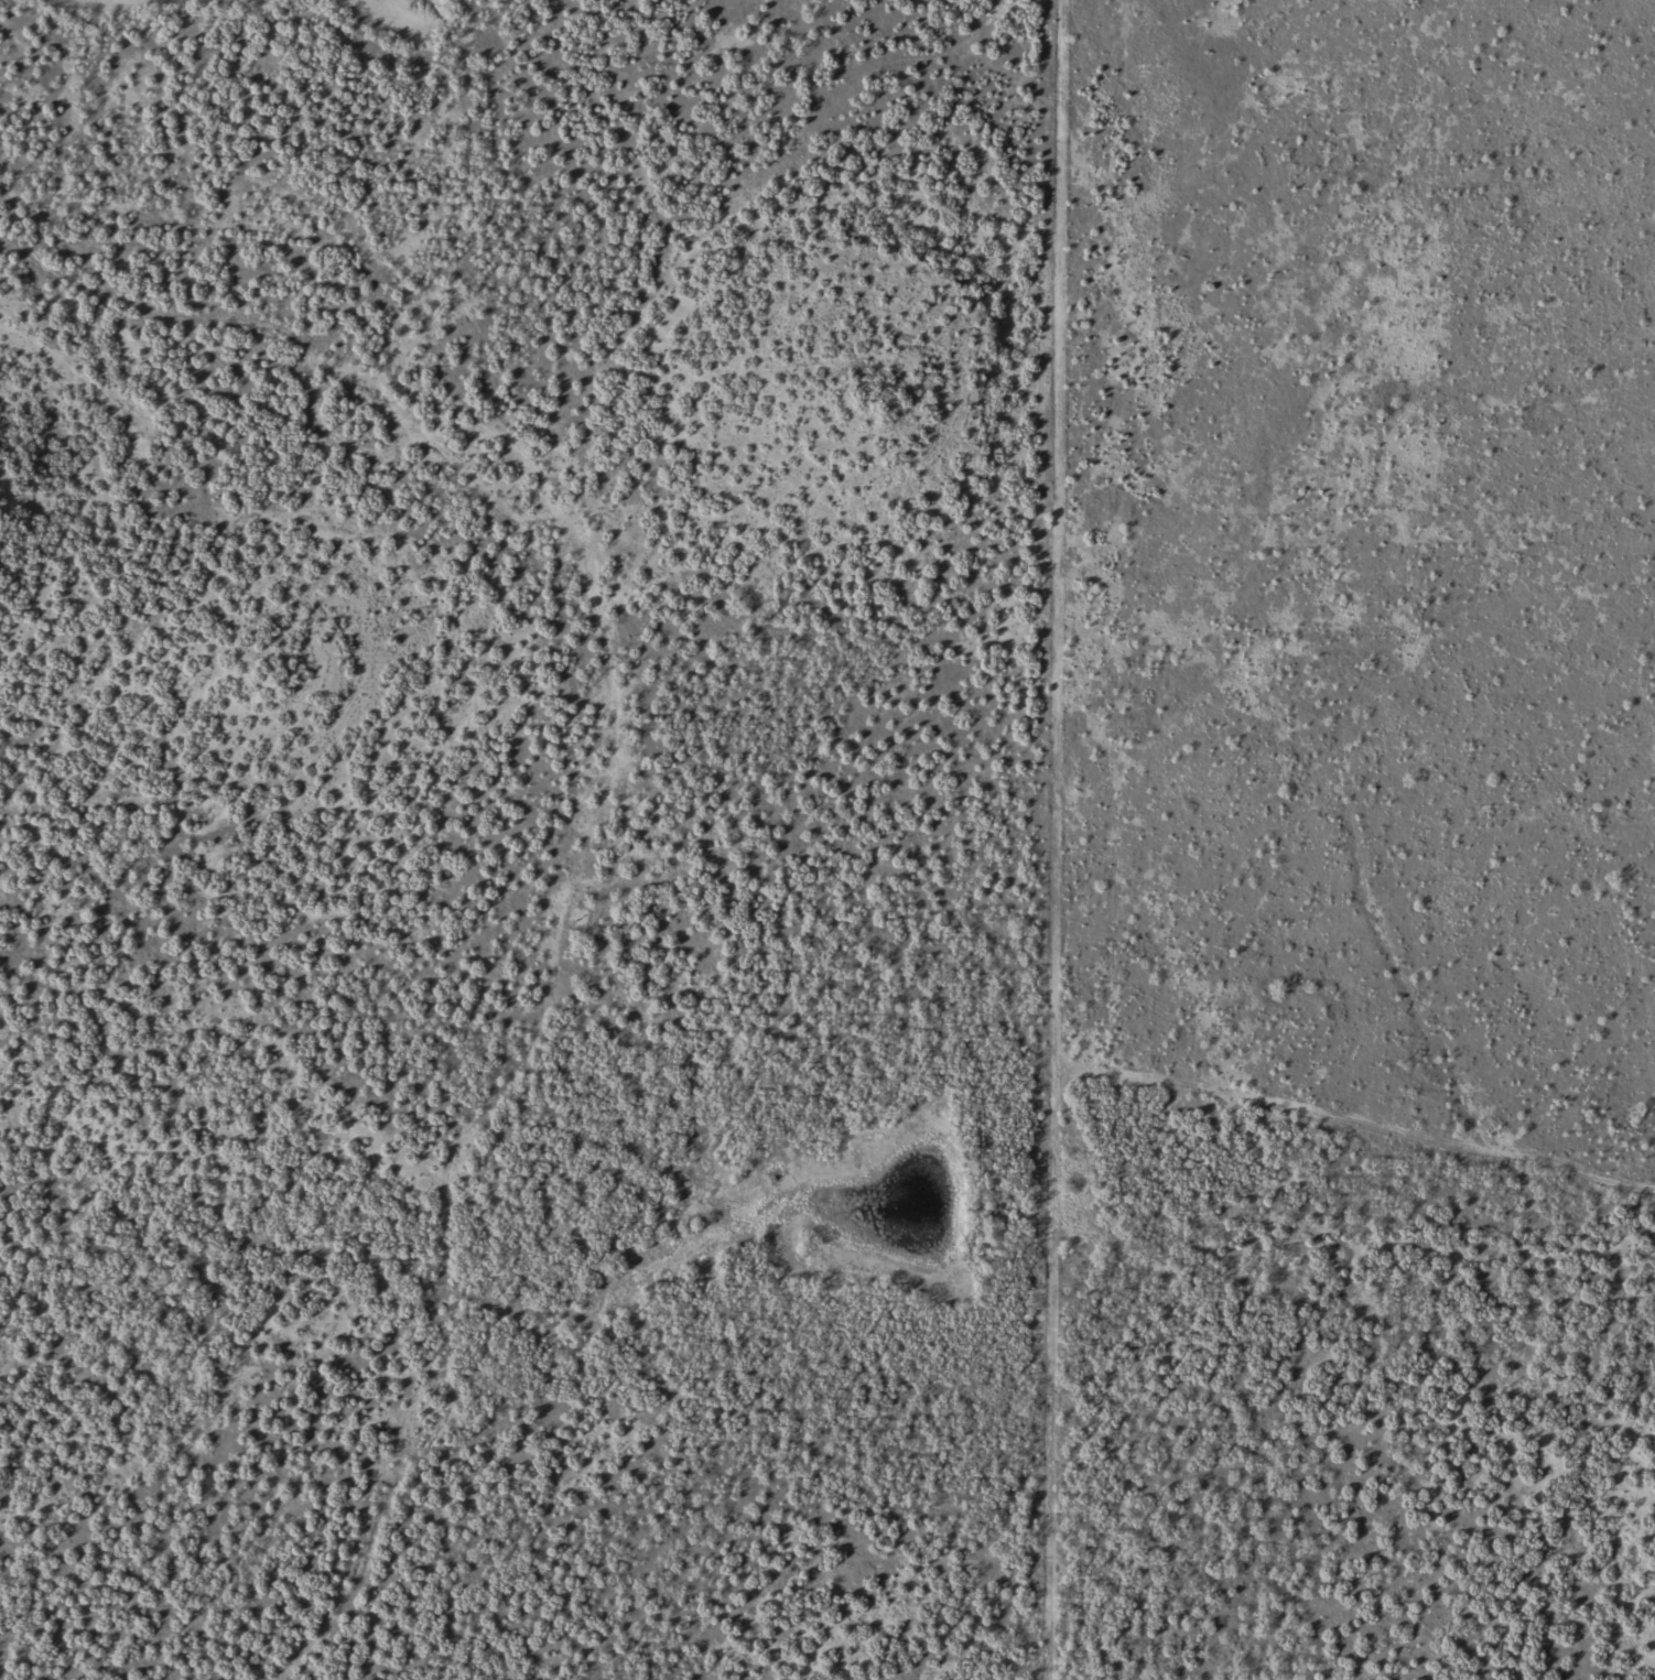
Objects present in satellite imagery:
road: (792, 253)
road: (324, 378)
road: (532, 1127)

